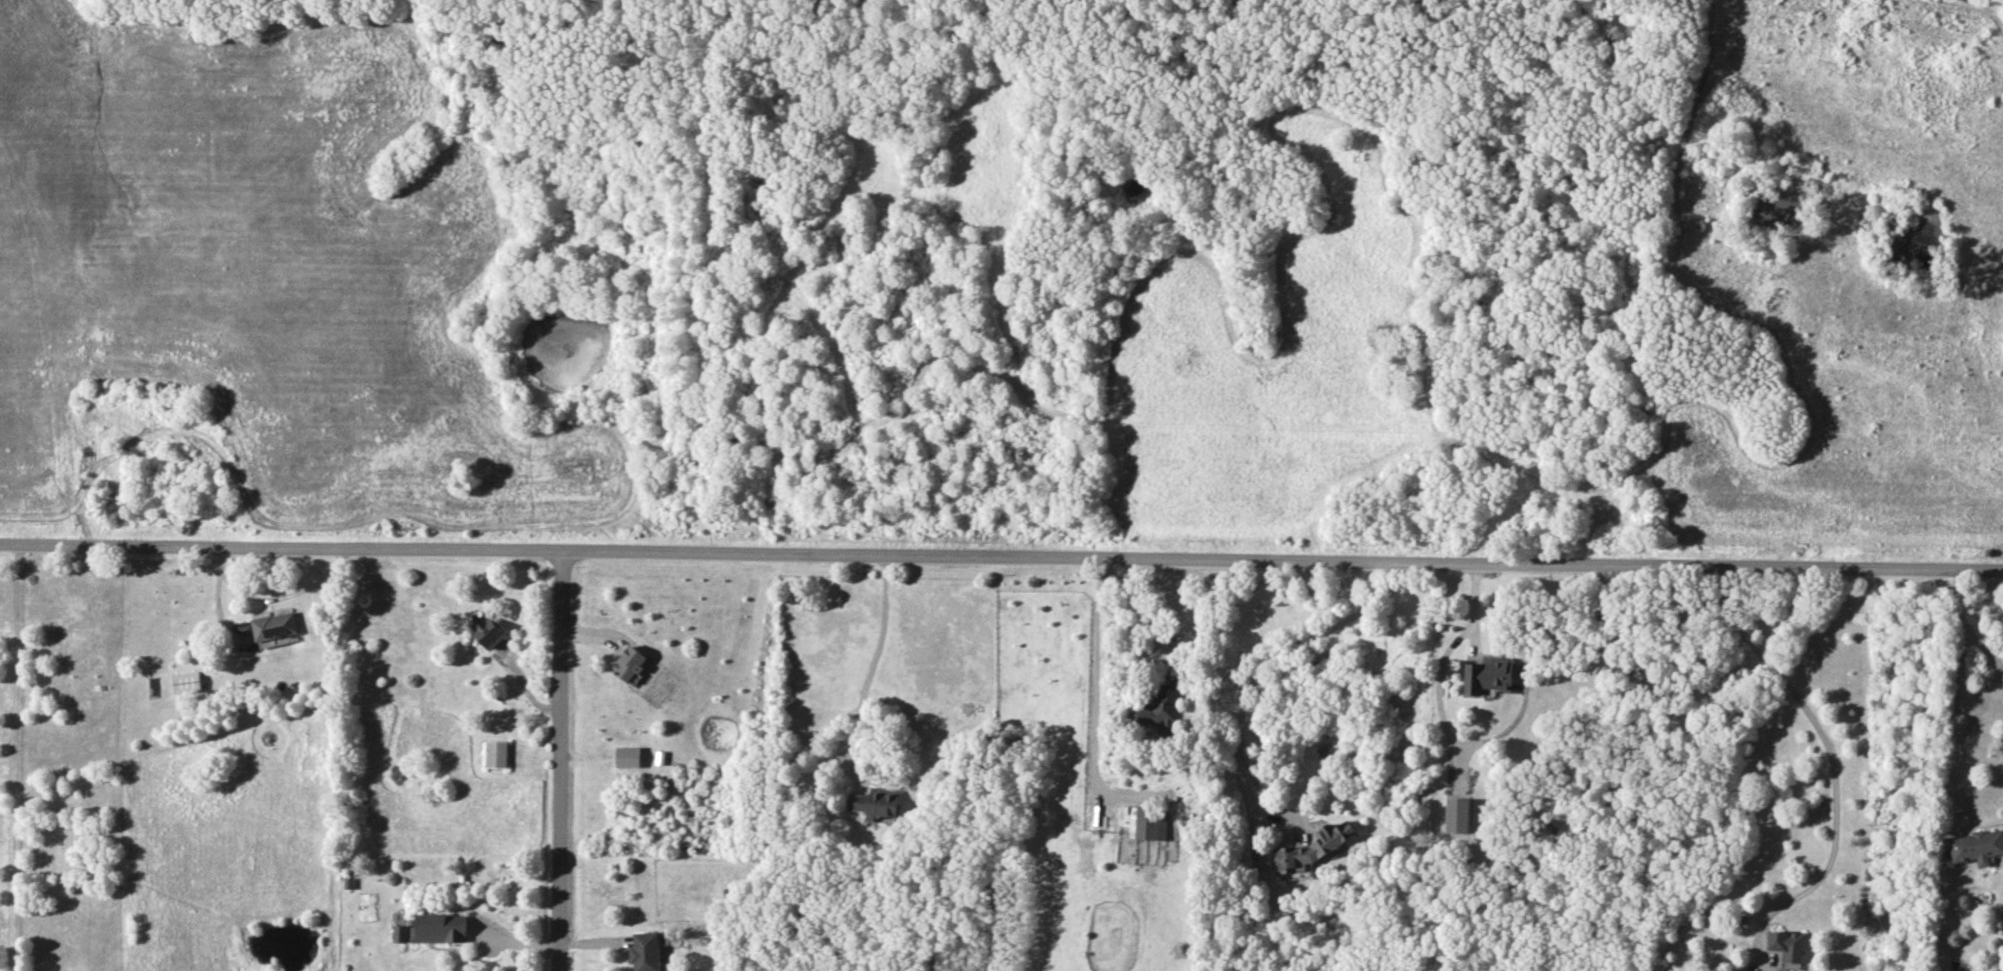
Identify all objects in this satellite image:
park: (1008, 278)
road: (1001, 556)
road: (1138, 615)
road: (1965, 622)
building: (274, 627)
building: (489, 633)
building: (629, 663)
road: (1440, 664)
road: (867, 666)
road: (1262, 666)
building: (1487, 675)
building: (186, 682)
road: (1091, 691)
building: (1157, 711)
building: (496, 753)
building: (627, 756)
road: (15, 759)
road: (560, 761)
road: (1831, 761)
building: (875, 802)
building: (1458, 815)
building: (1147, 824)
building: (1976, 846)
building: (1314, 848)
building: (433, 929)
building: (1786, 945)
building: (645, 951)

